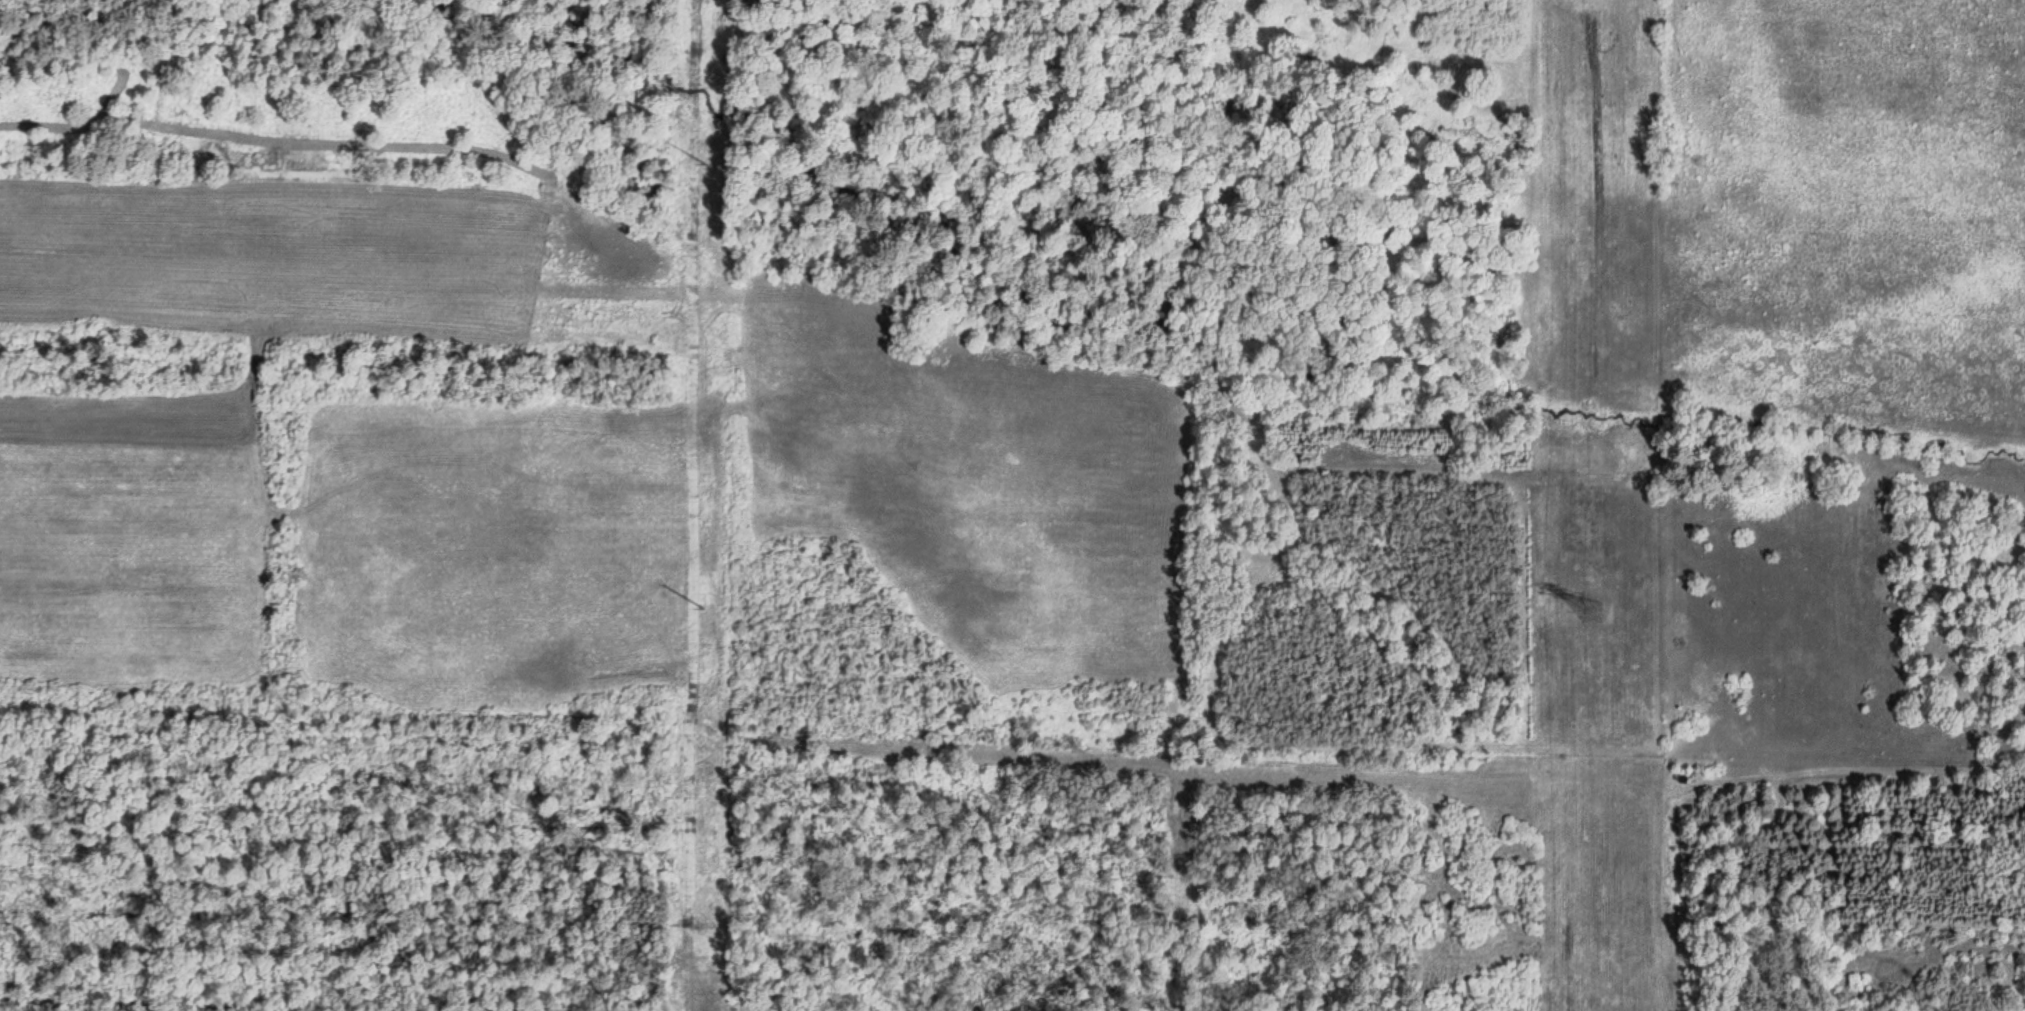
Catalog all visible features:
power tower: (1593, 608)

